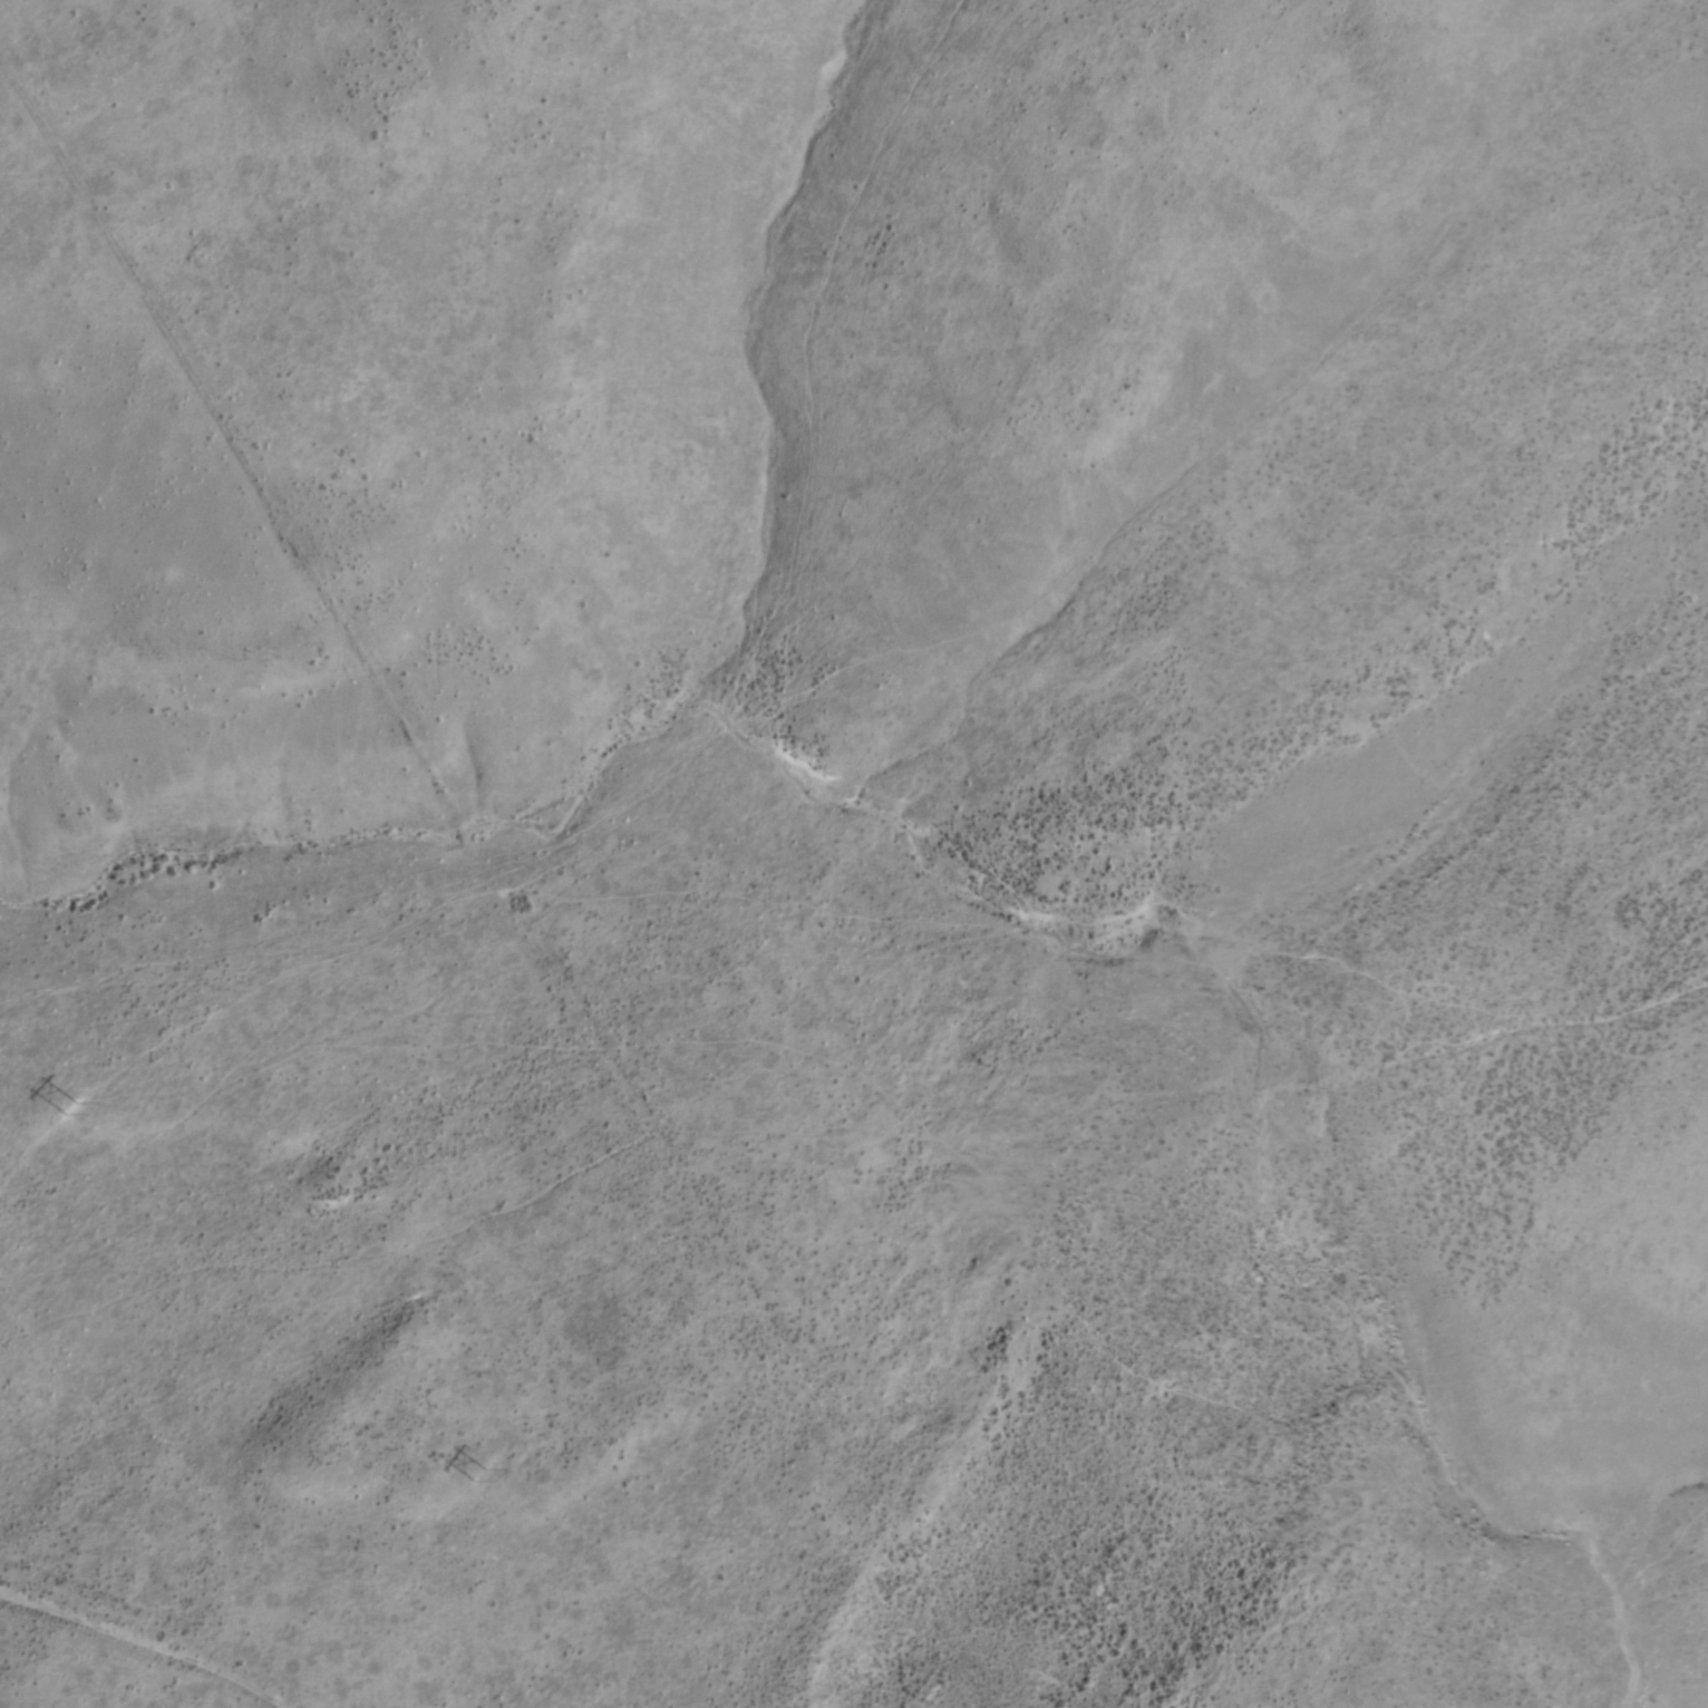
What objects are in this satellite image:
power tower: (67, 1106)
power tower: (481, 1476)
road: (140, 1638)

